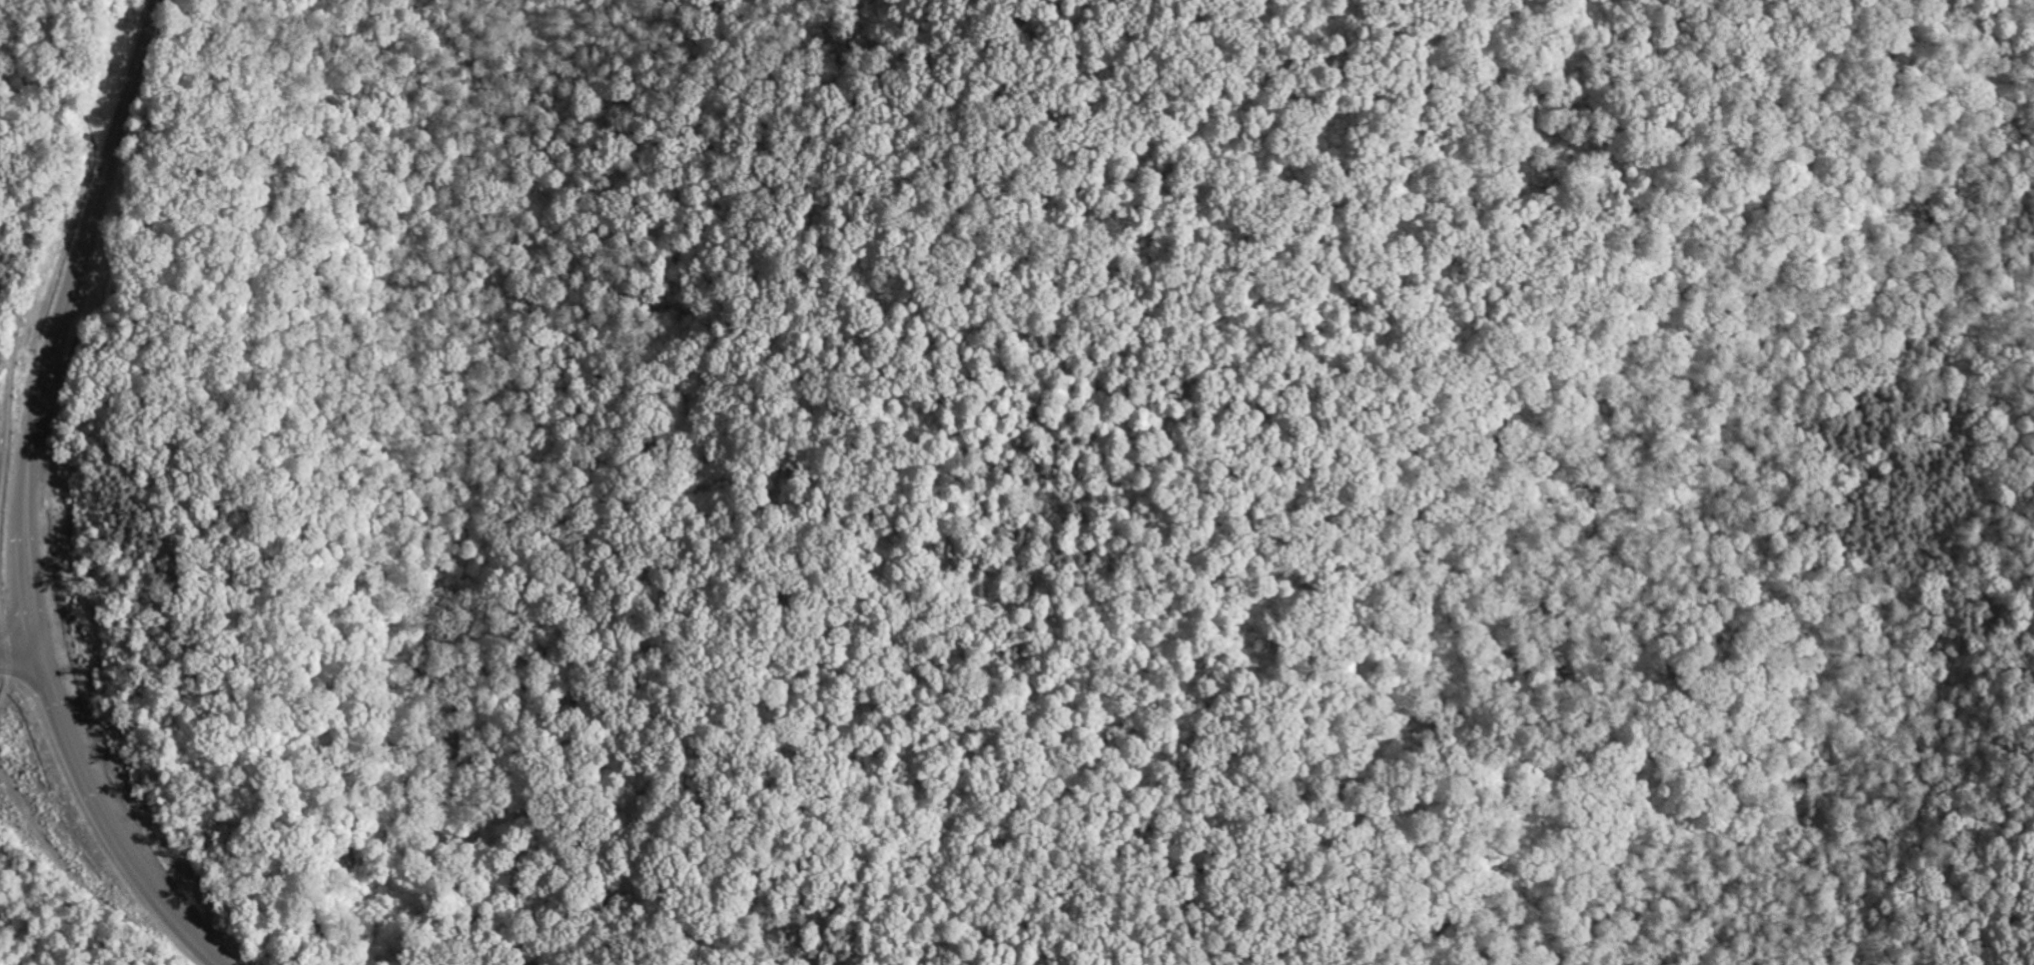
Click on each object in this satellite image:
road: (59, 321)
road: (10, 399)
road: (18, 649)
road: (5, 653)
road: (109, 816)
road: (71, 876)
road: (98, 957)
road: (73, 962)

